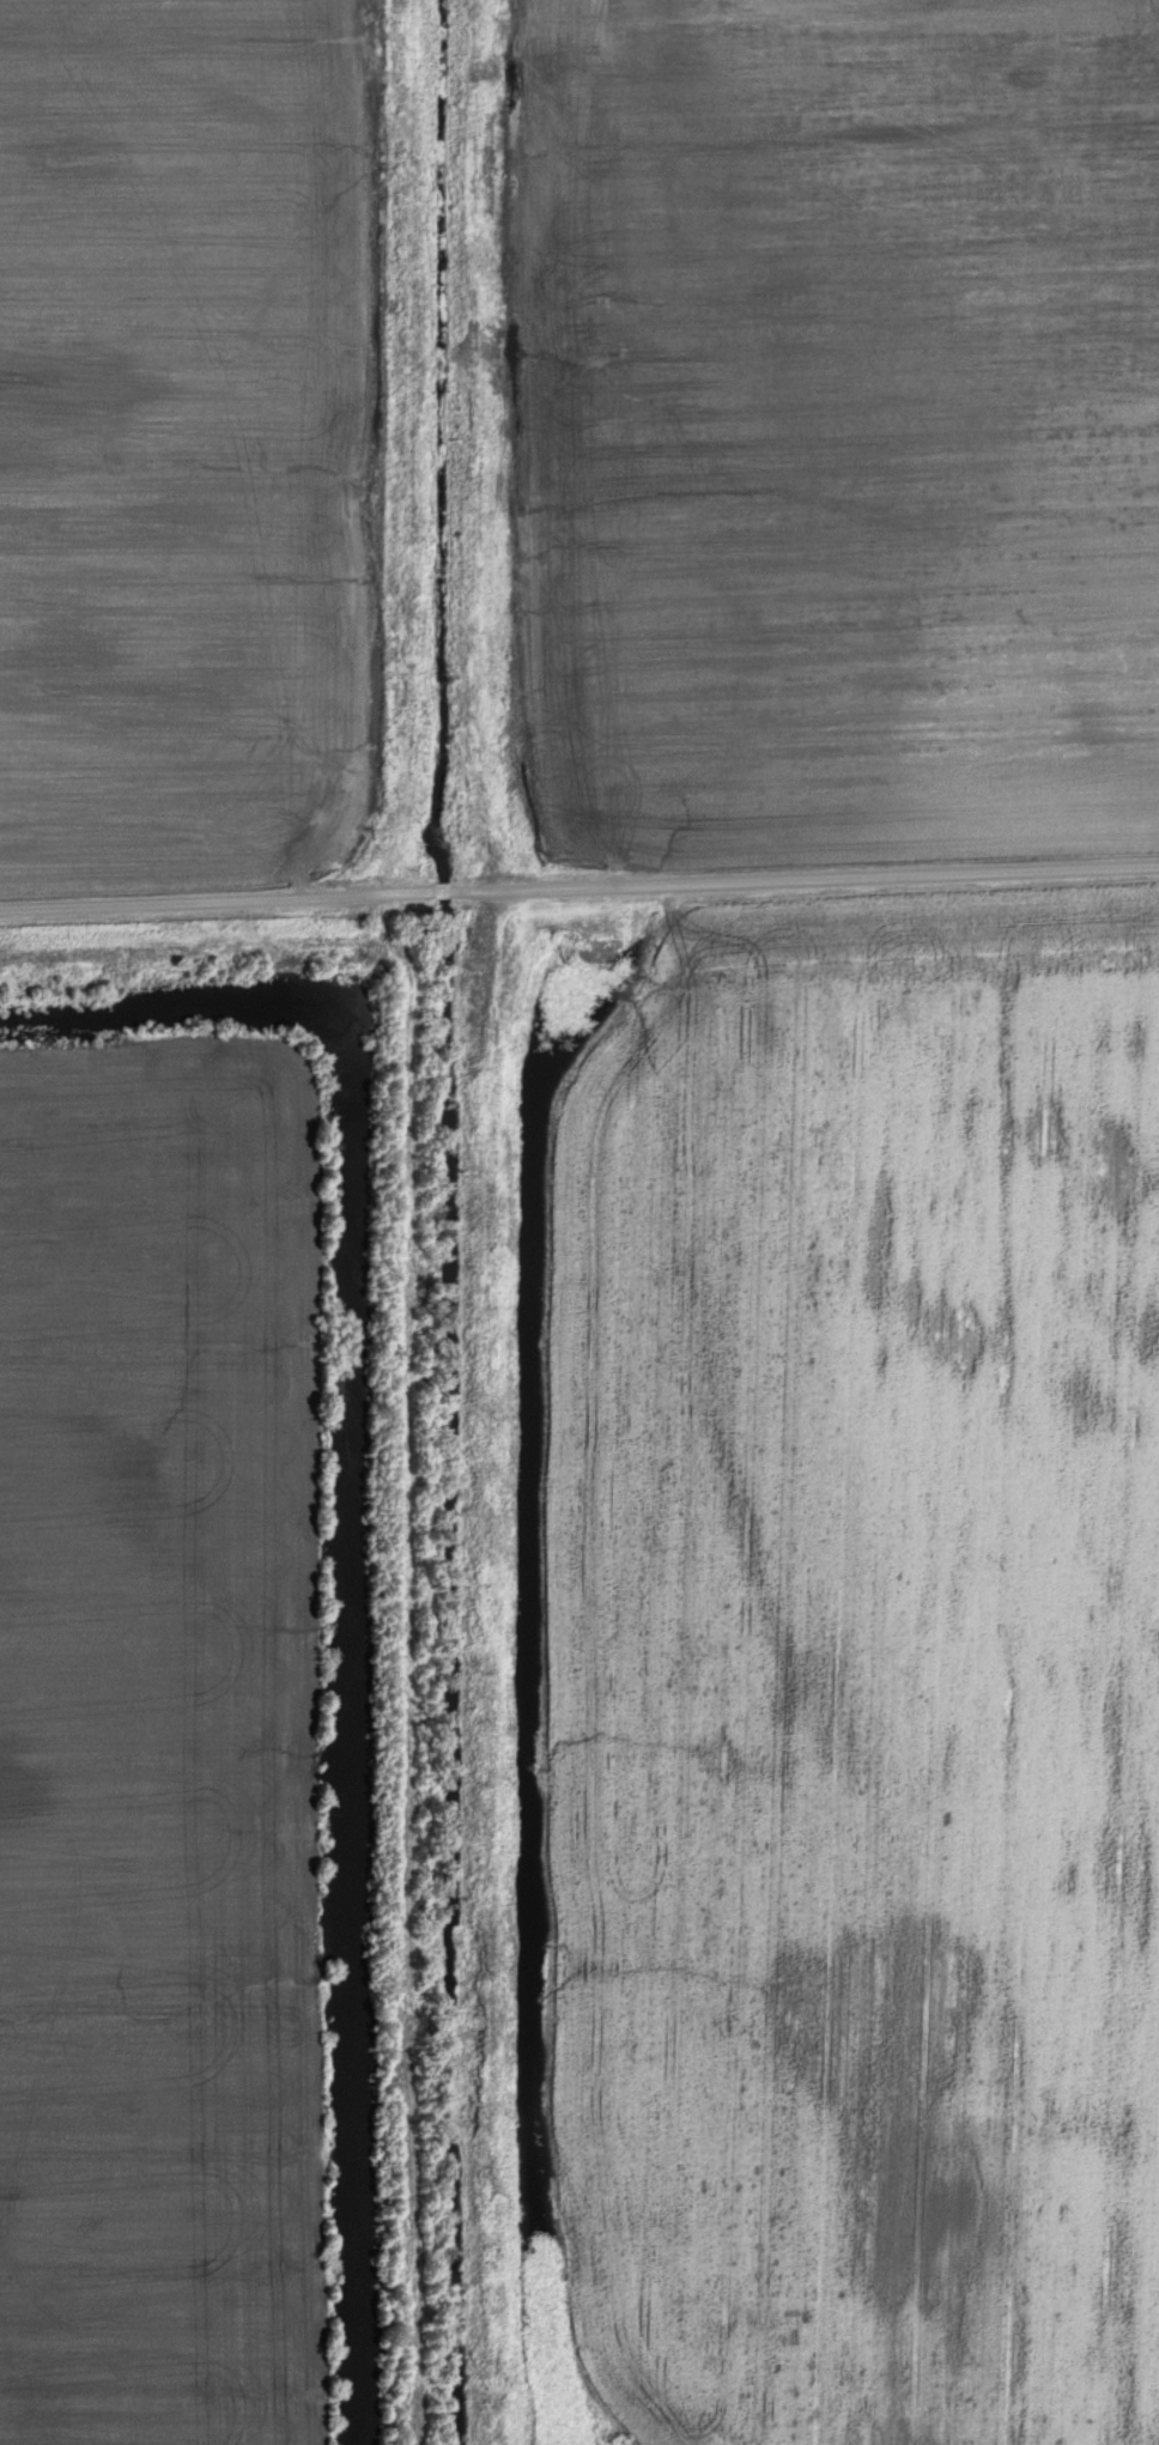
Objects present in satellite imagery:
crop: (842, 424)
crop: (181, 443)
road: (579, 882)
crop: (862, 1676)
crop: (162, 1745)

